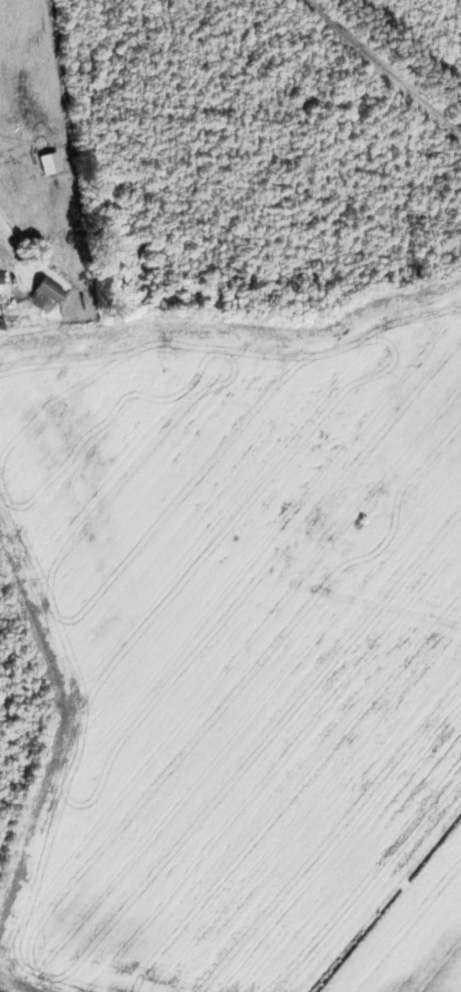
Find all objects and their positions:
road: (383, 68)
building: (47, 294)

